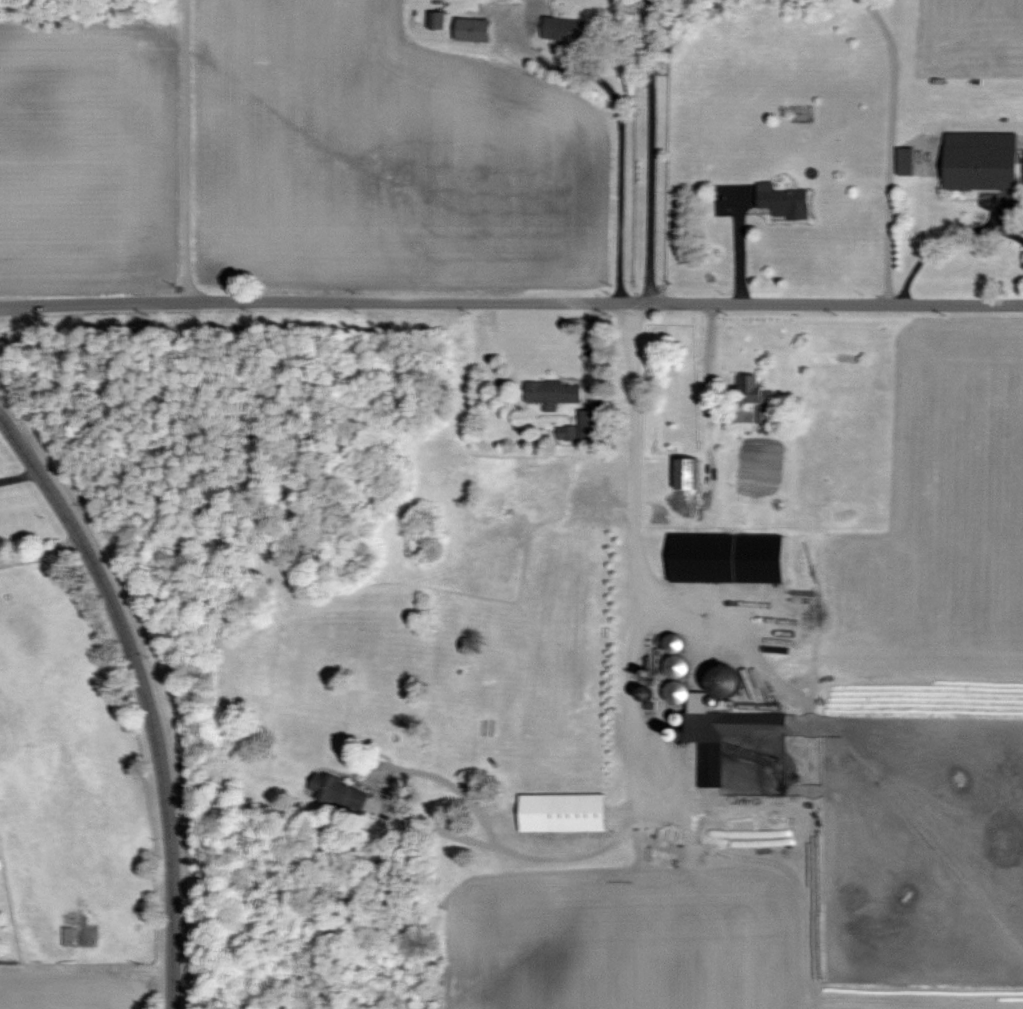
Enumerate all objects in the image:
building: (435, 15)
building: (564, 28)
building: (472, 29)
road: (621, 125)
road: (890, 149)
road: (185, 151)
road: (649, 151)
building: (905, 161)
building: (981, 161)
building: (784, 203)
road: (511, 302)
building: (752, 390)
building: (551, 393)
building: (590, 424)
building: (565, 433)
building: (688, 474)
road: (35, 548)
building: (727, 559)
building: (676, 655)
building: (726, 684)
building: (677, 693)
road: (139, 700)
building: (709, 742)
road: (634, 786)
building: (339, 793)
building: (563, 812)
building: (66, 936)

